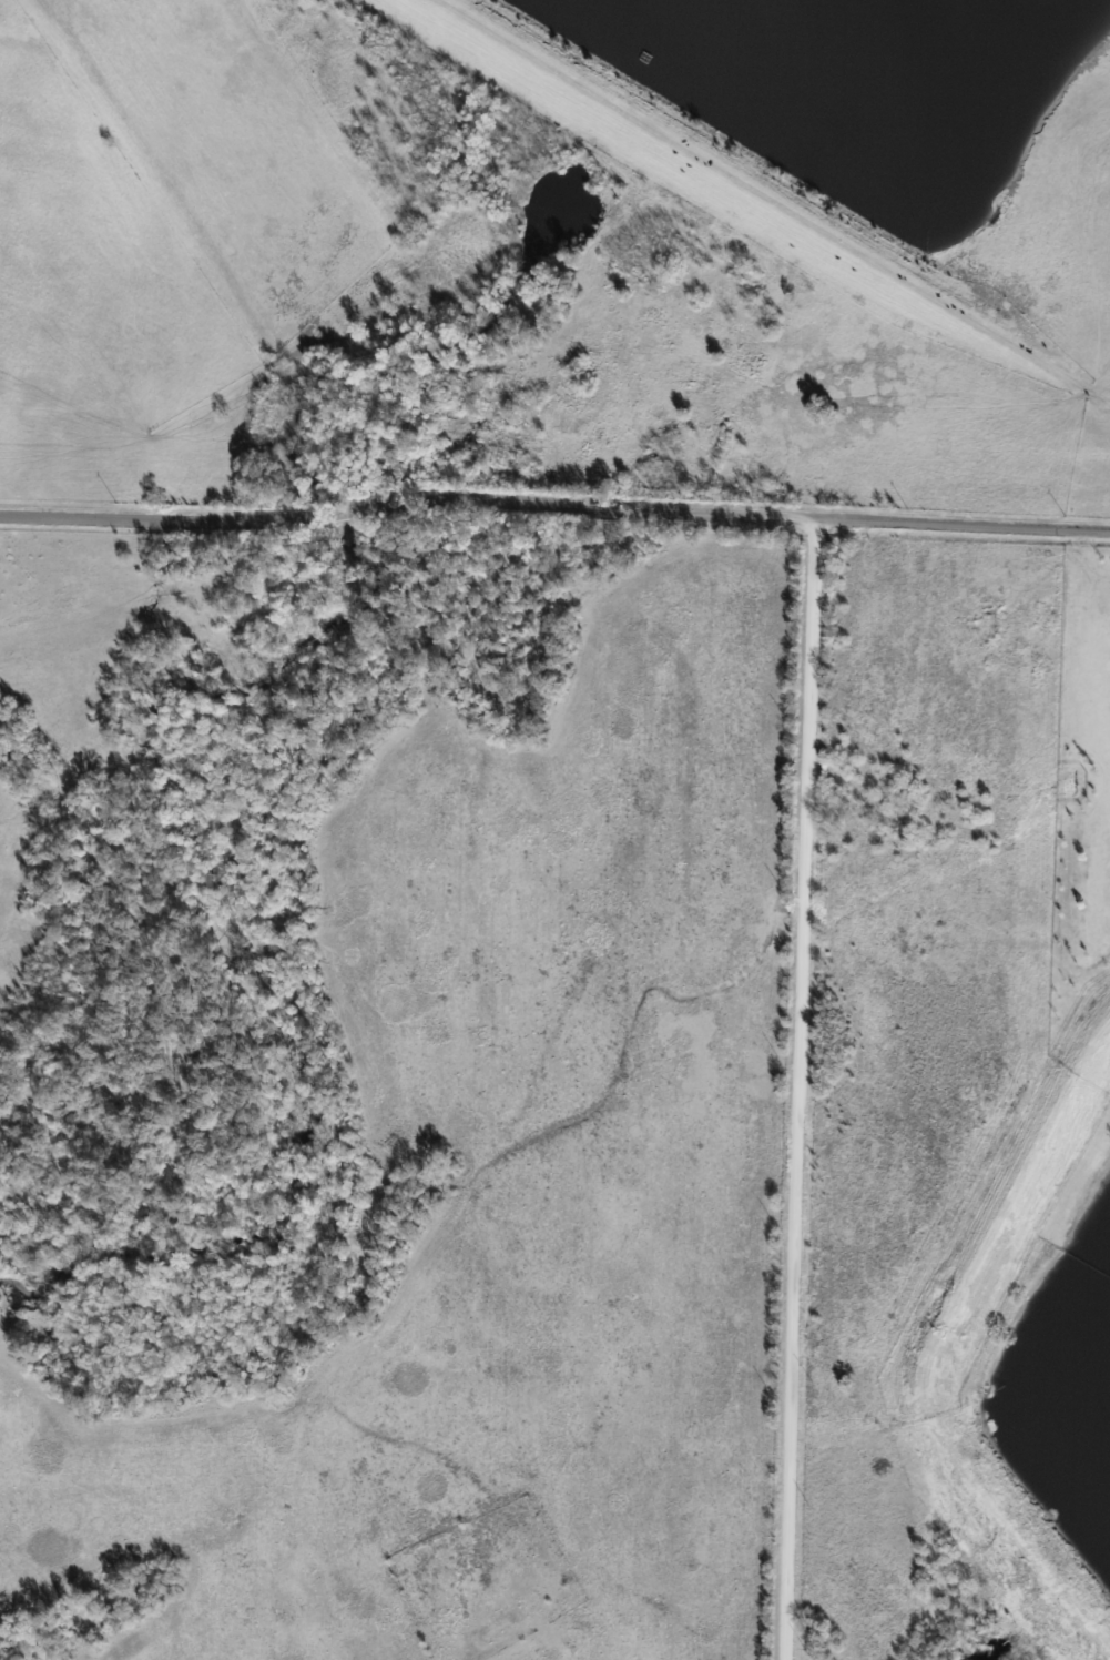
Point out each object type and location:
road: (553, 503)
road: (800, 1087)

